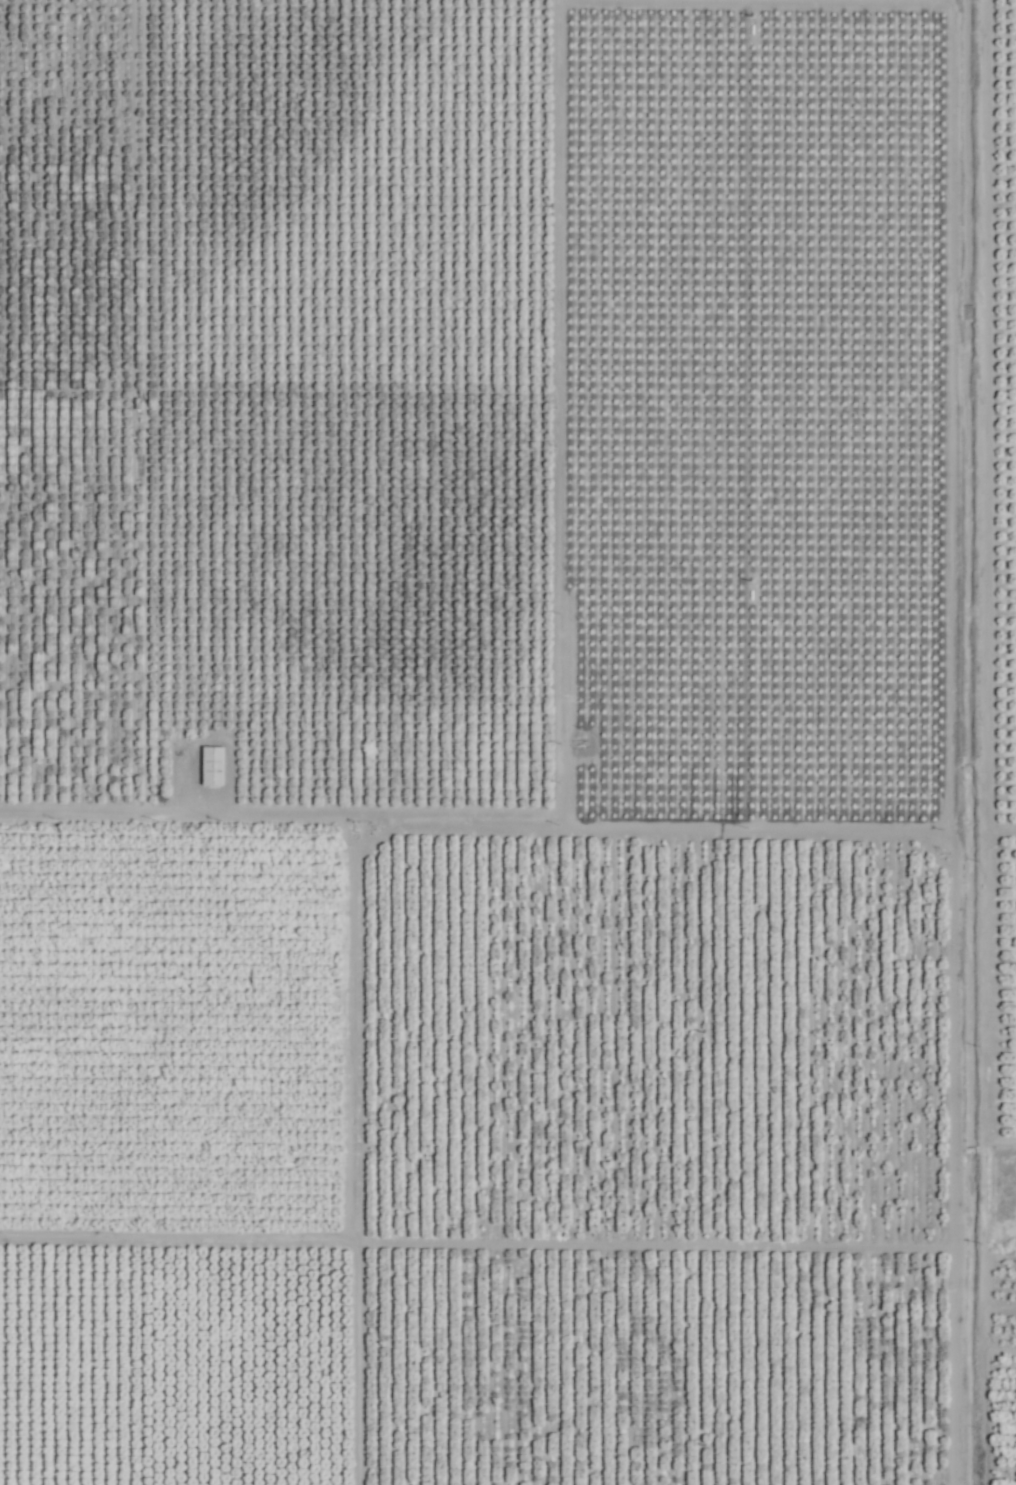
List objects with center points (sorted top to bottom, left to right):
crop: (508, 742)
building: (209, 765)
road: (94, 816)

